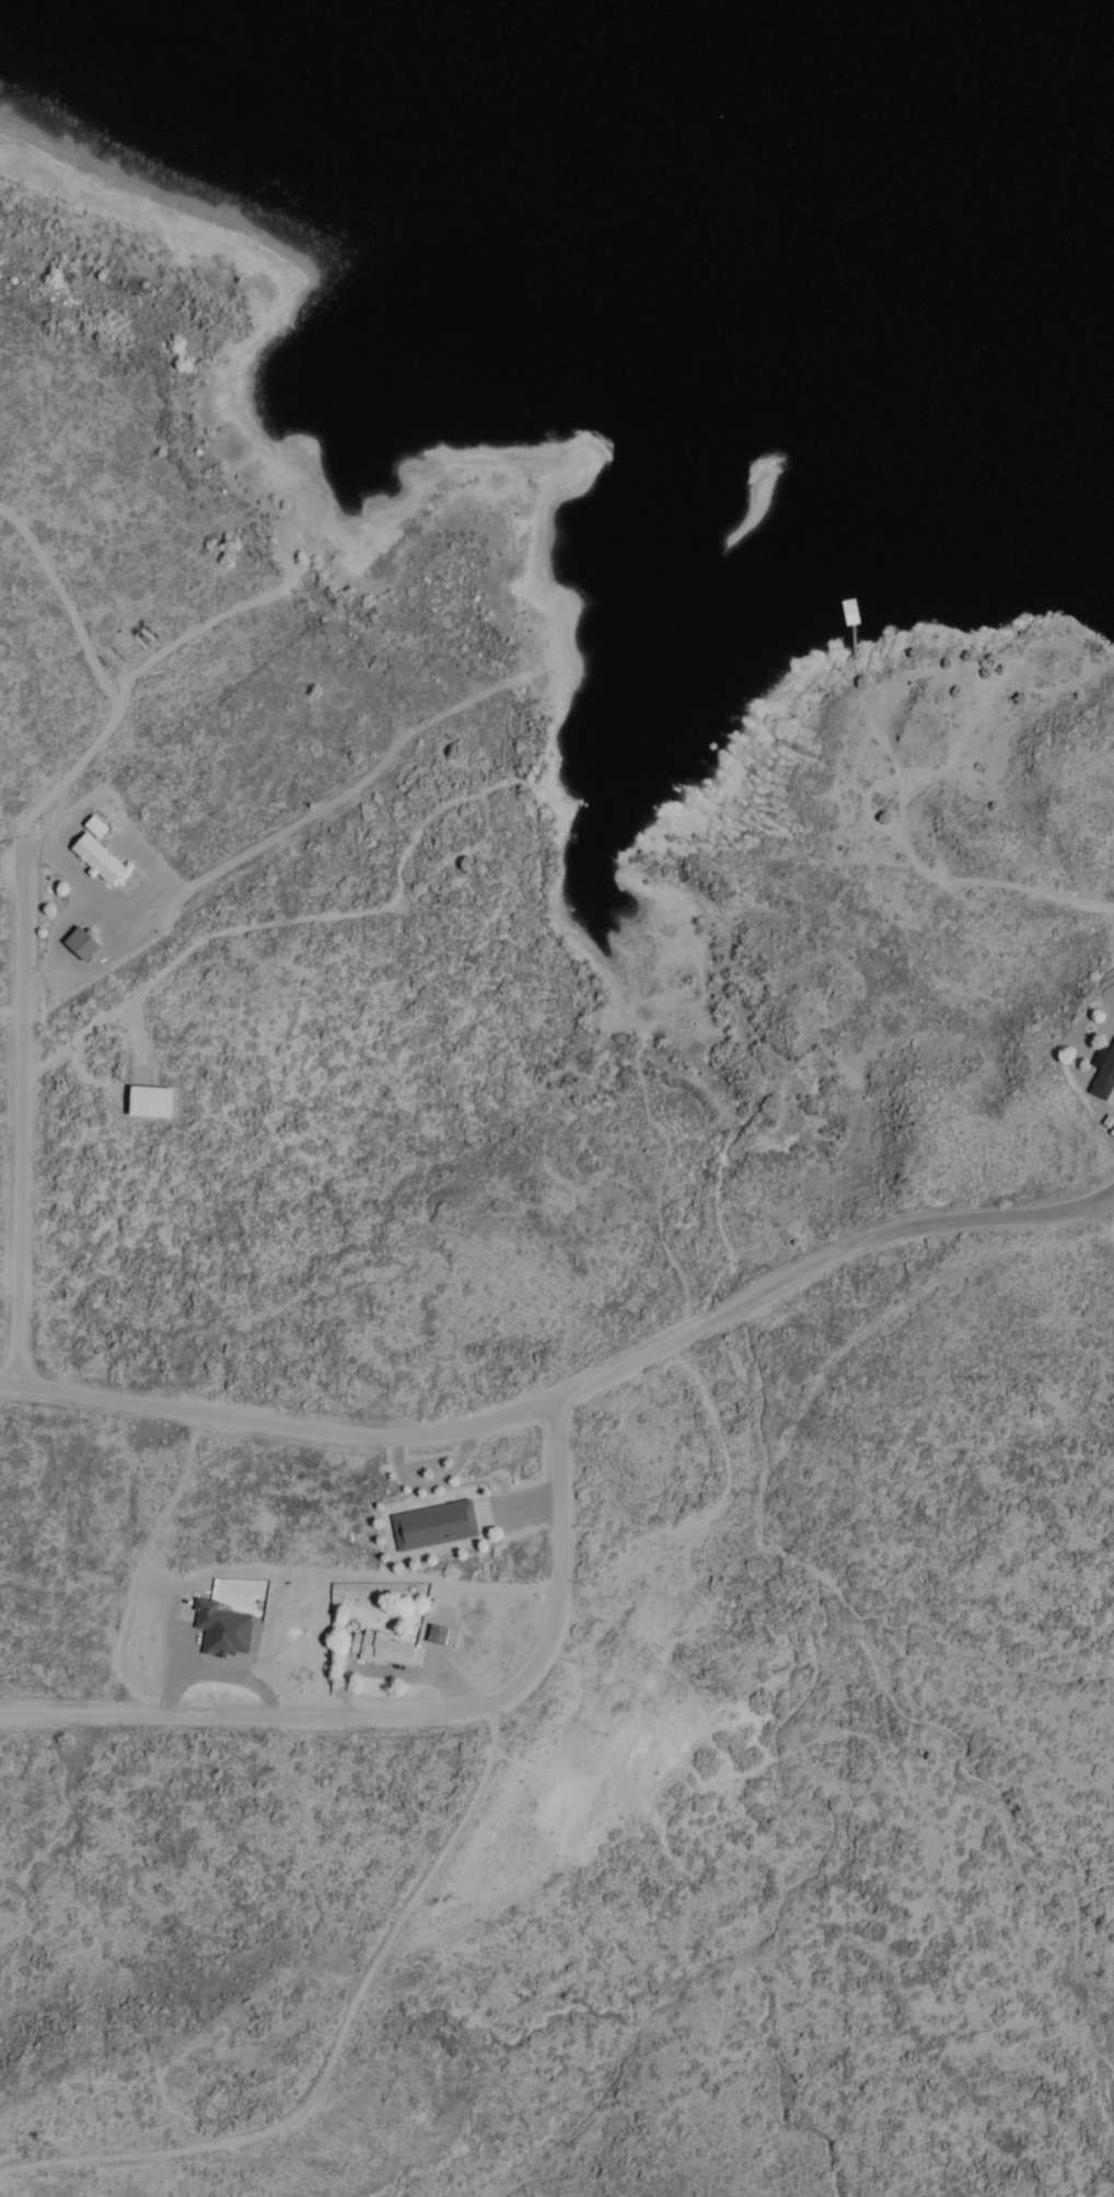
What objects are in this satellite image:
building: (83, 858)
building: (70, 945)
building: (1096, 1071)
building: (142, 1102)
road: (26, 1109)
building: (1106, 1131)
road: (577, 1395)
building: (376, 1650)
road: (408, 1711)

